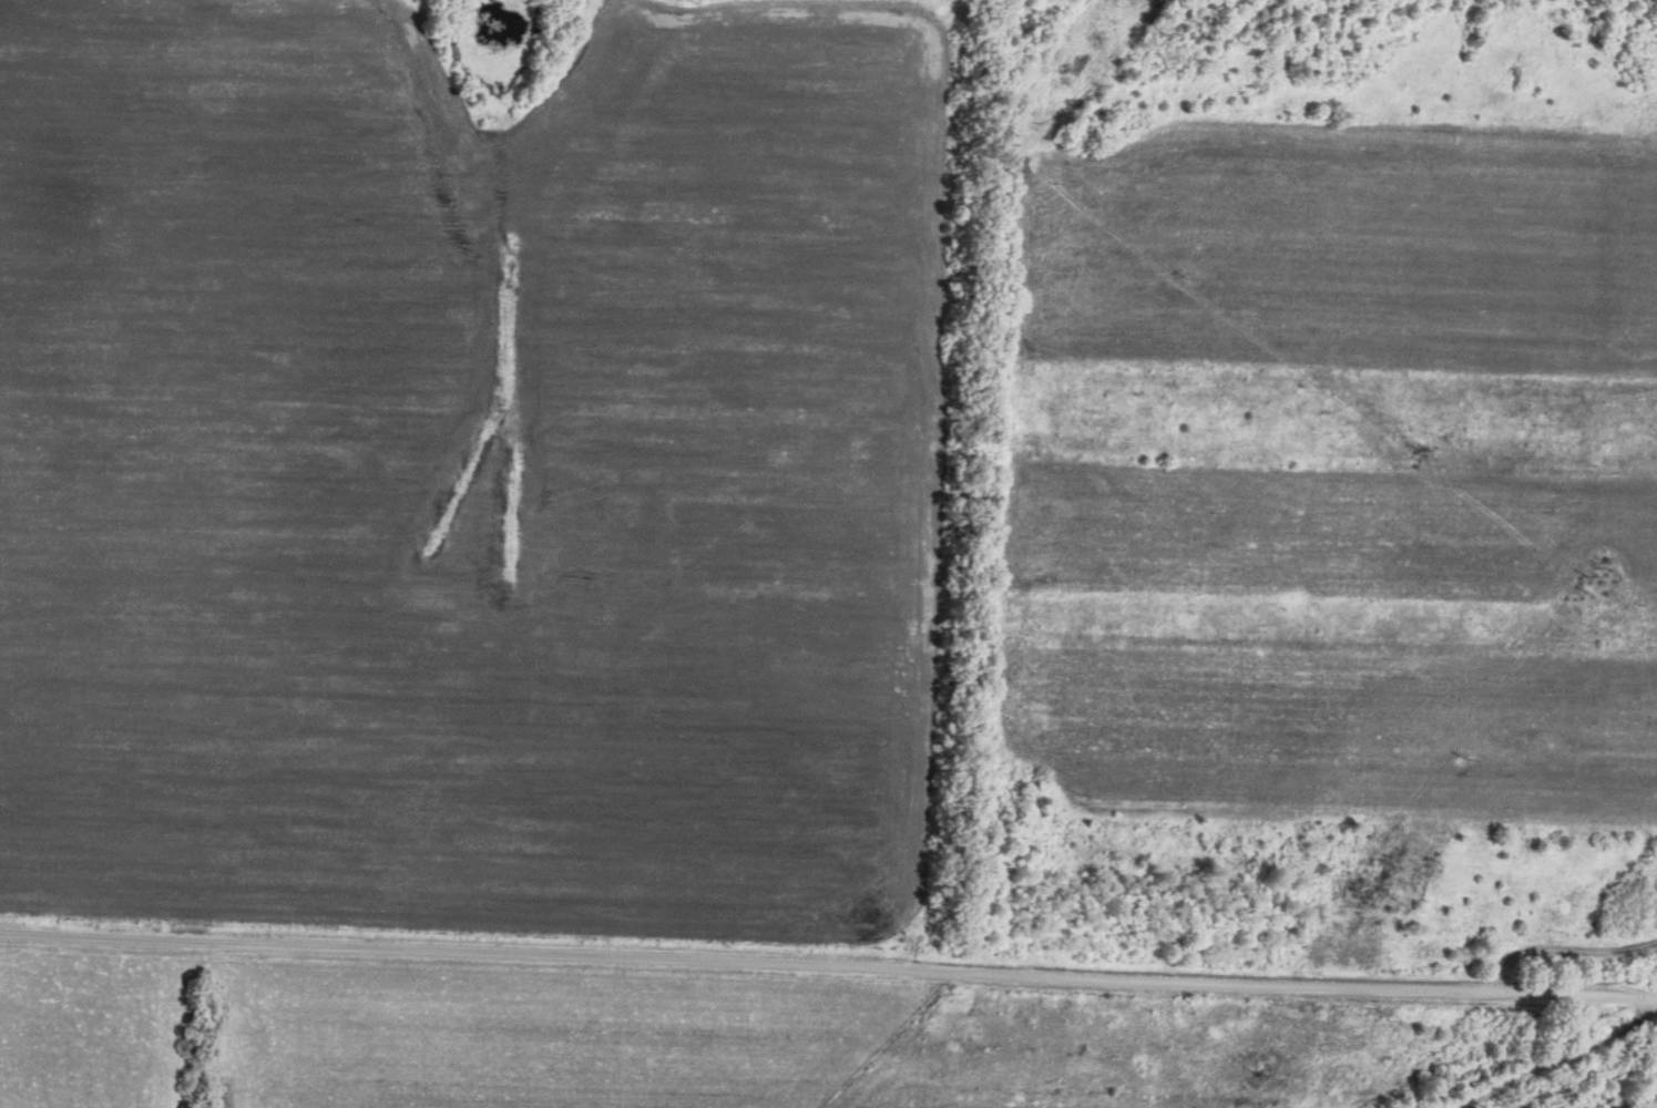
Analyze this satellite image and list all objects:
road: (828, 938)

